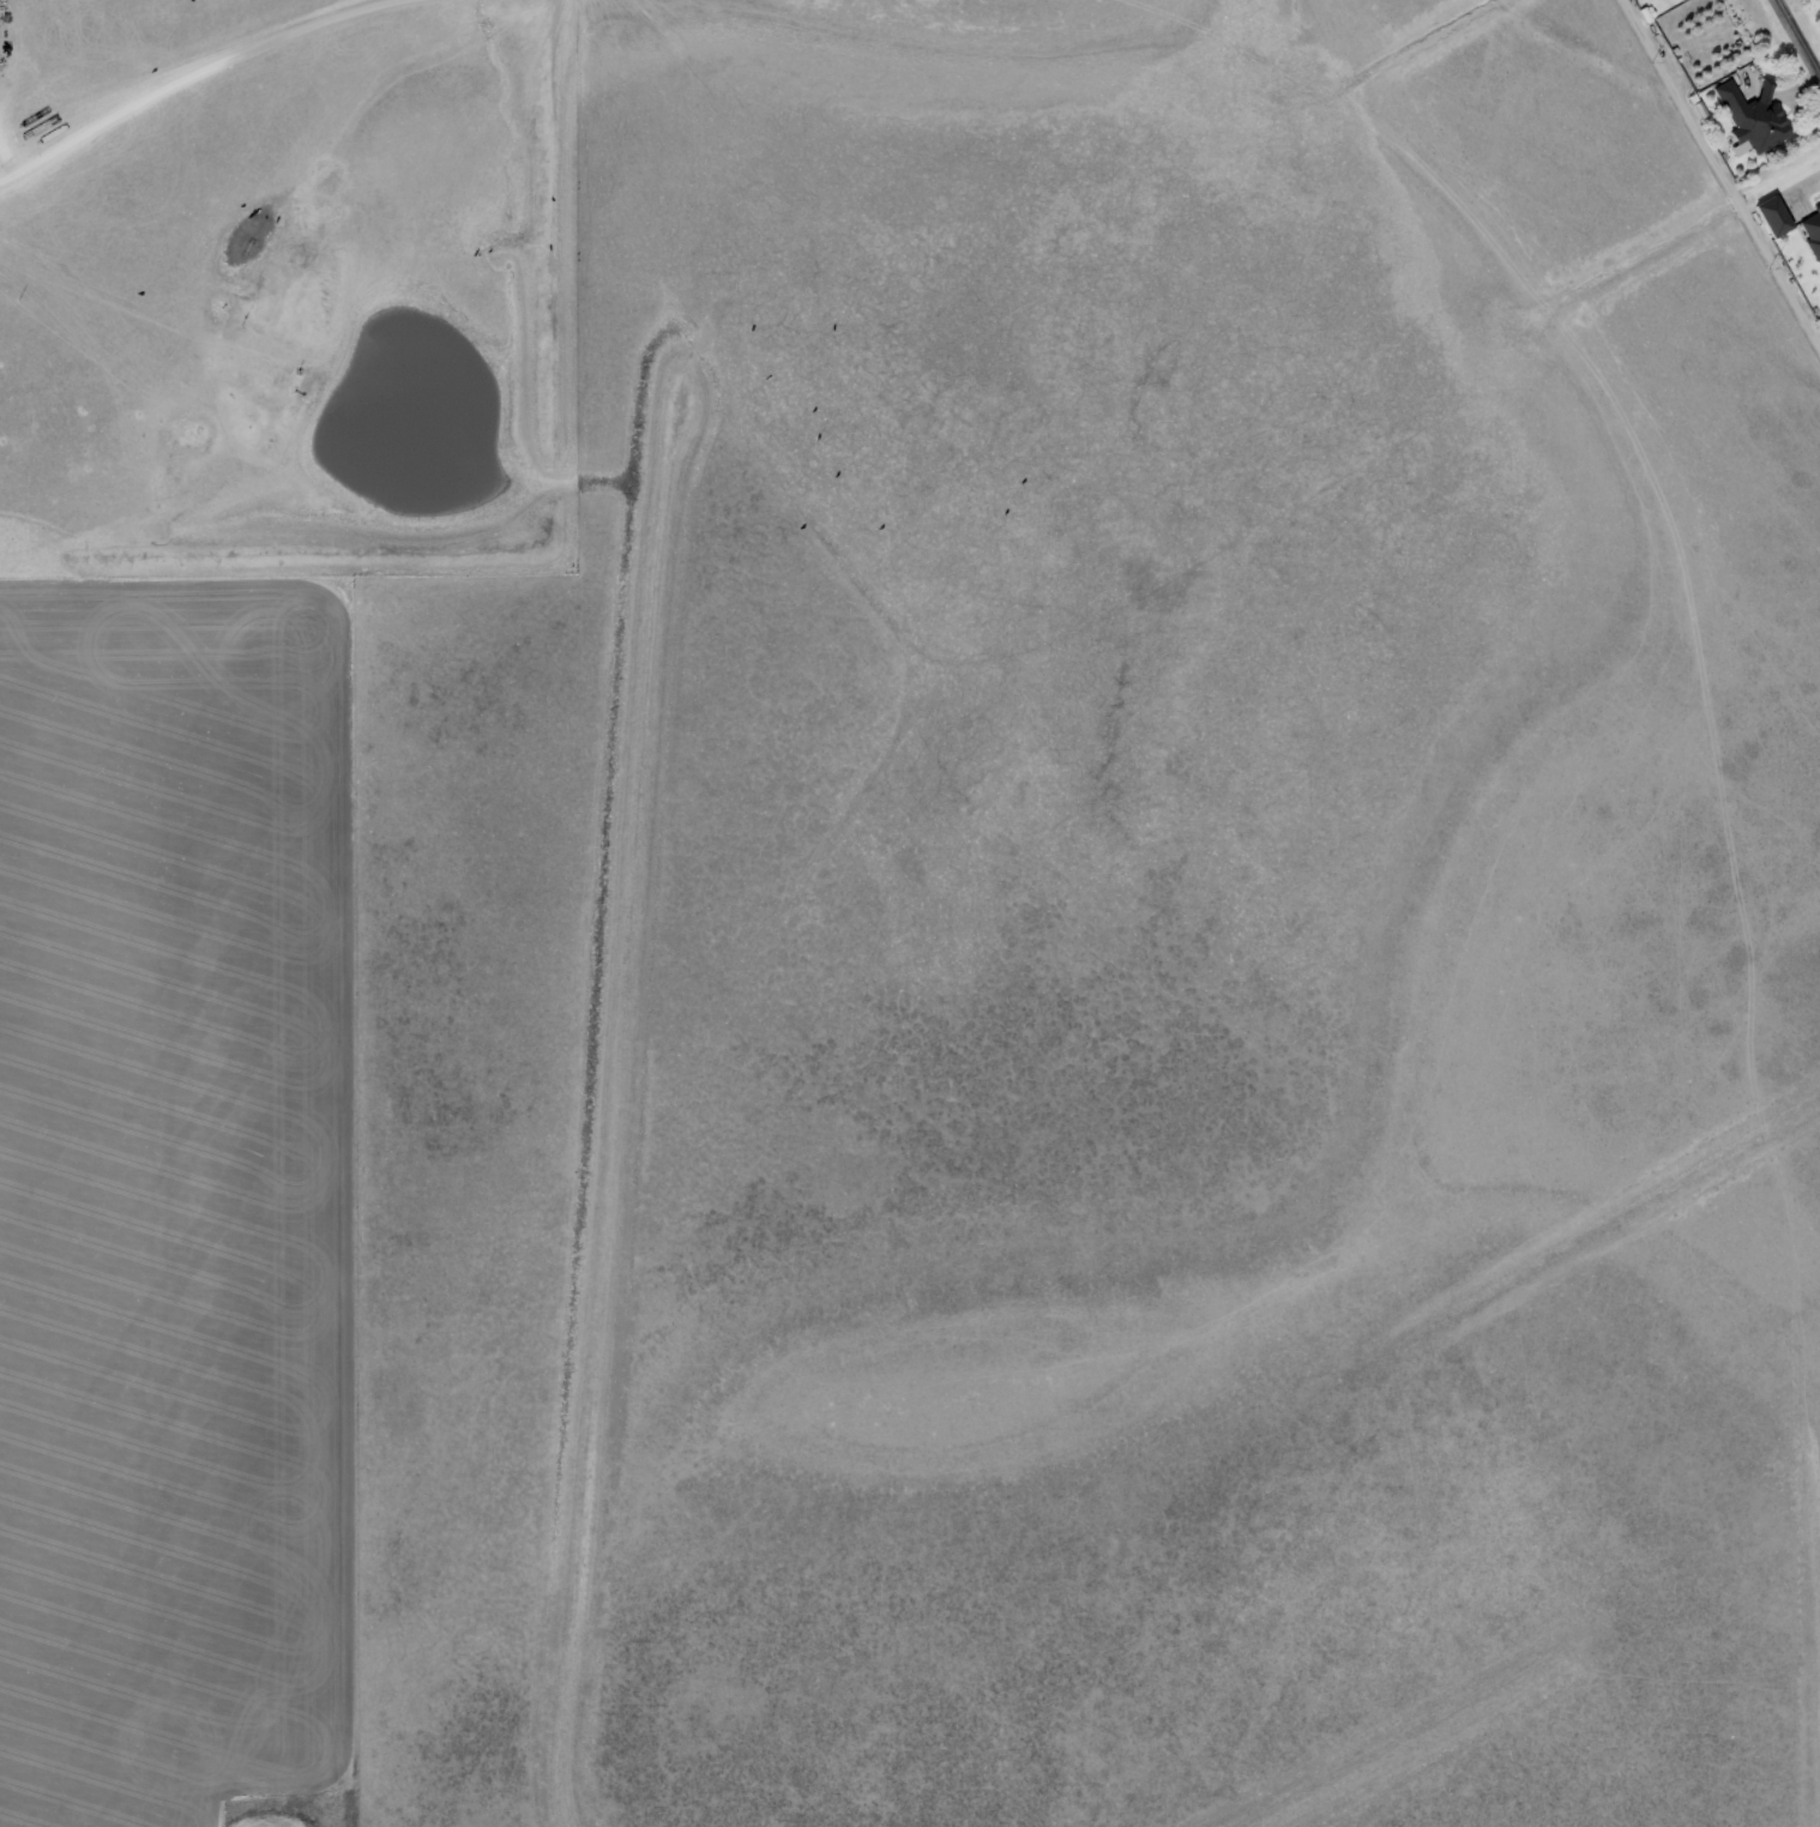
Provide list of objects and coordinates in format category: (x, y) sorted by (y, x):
road: (1797, 37)
building: (1753, 119)
road: (1723, 170)
building: (1774, 216)
building: (1813, 229)

